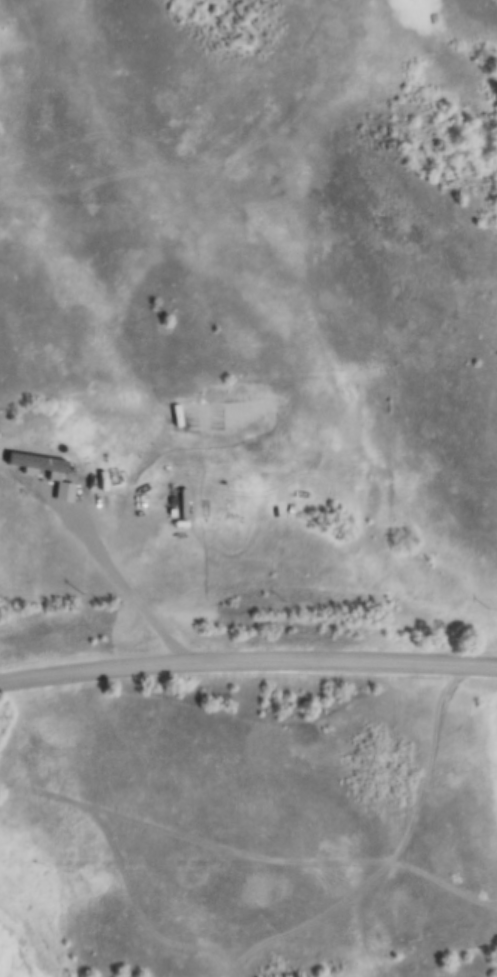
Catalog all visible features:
building: (40, 465)
road: (124, 591)
road: (247, 662)

